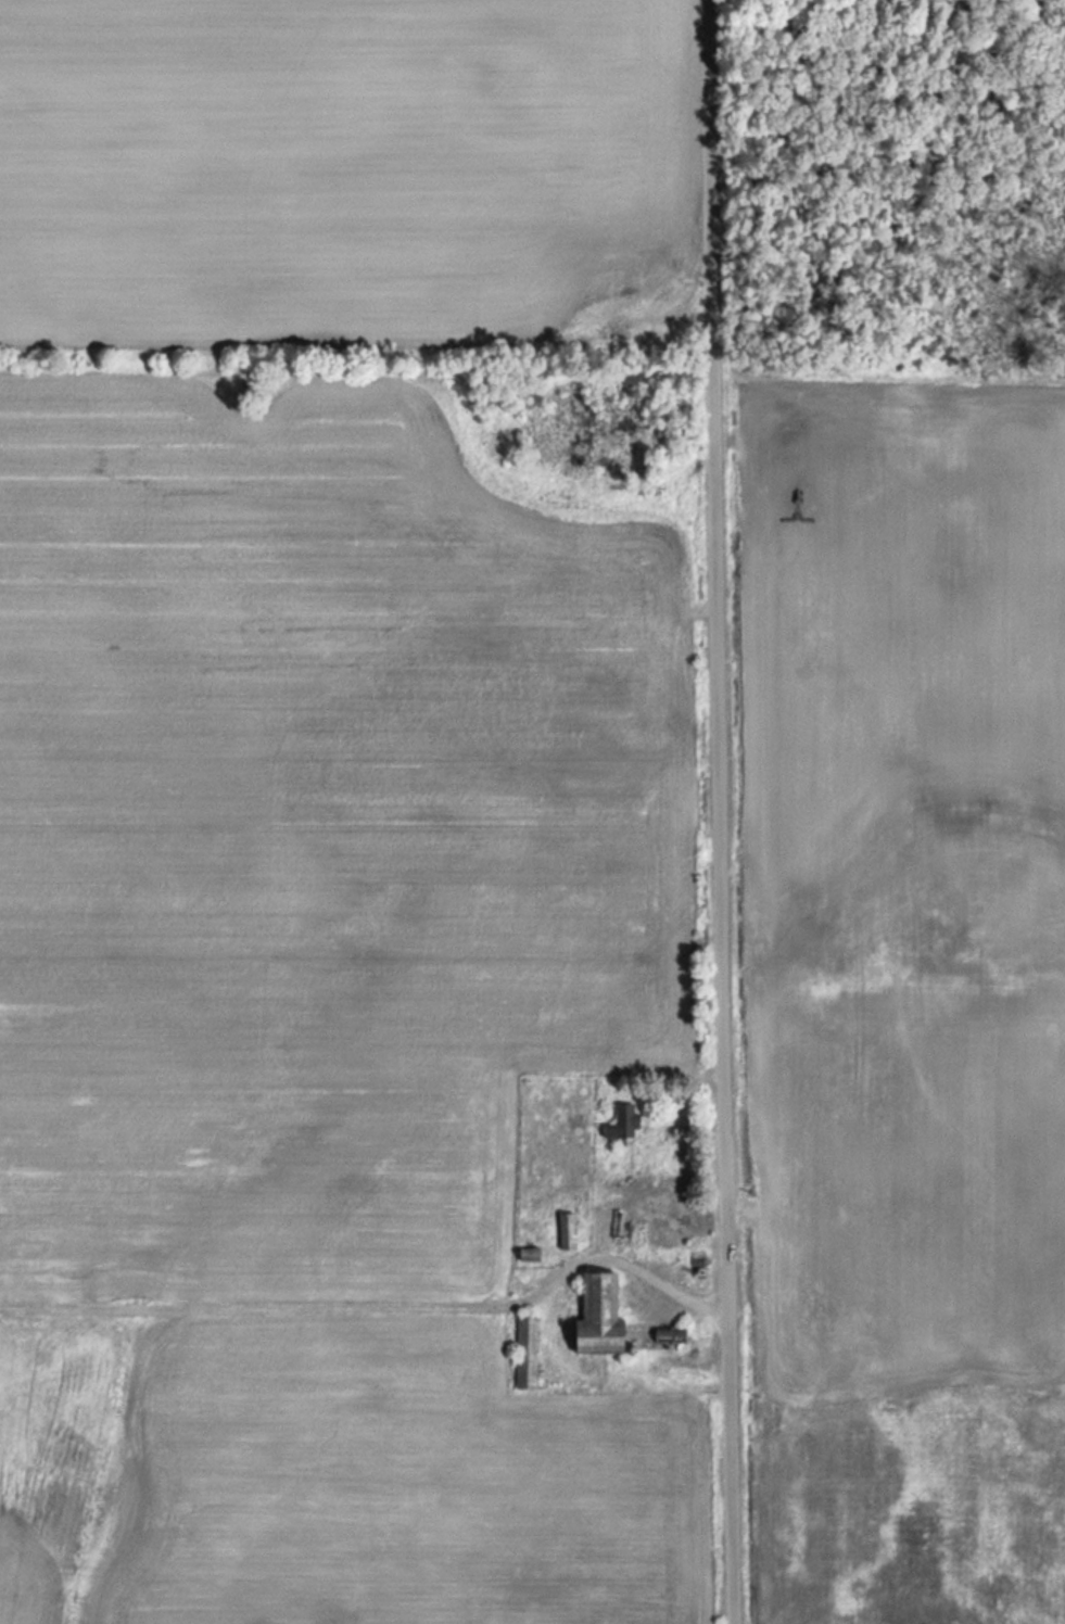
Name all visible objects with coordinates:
road: (720, 811)
building: (622, 1120)
building: (567, 1229)
building: (601, 1315)
building: (672, 1333)
building: (525, 1352)

